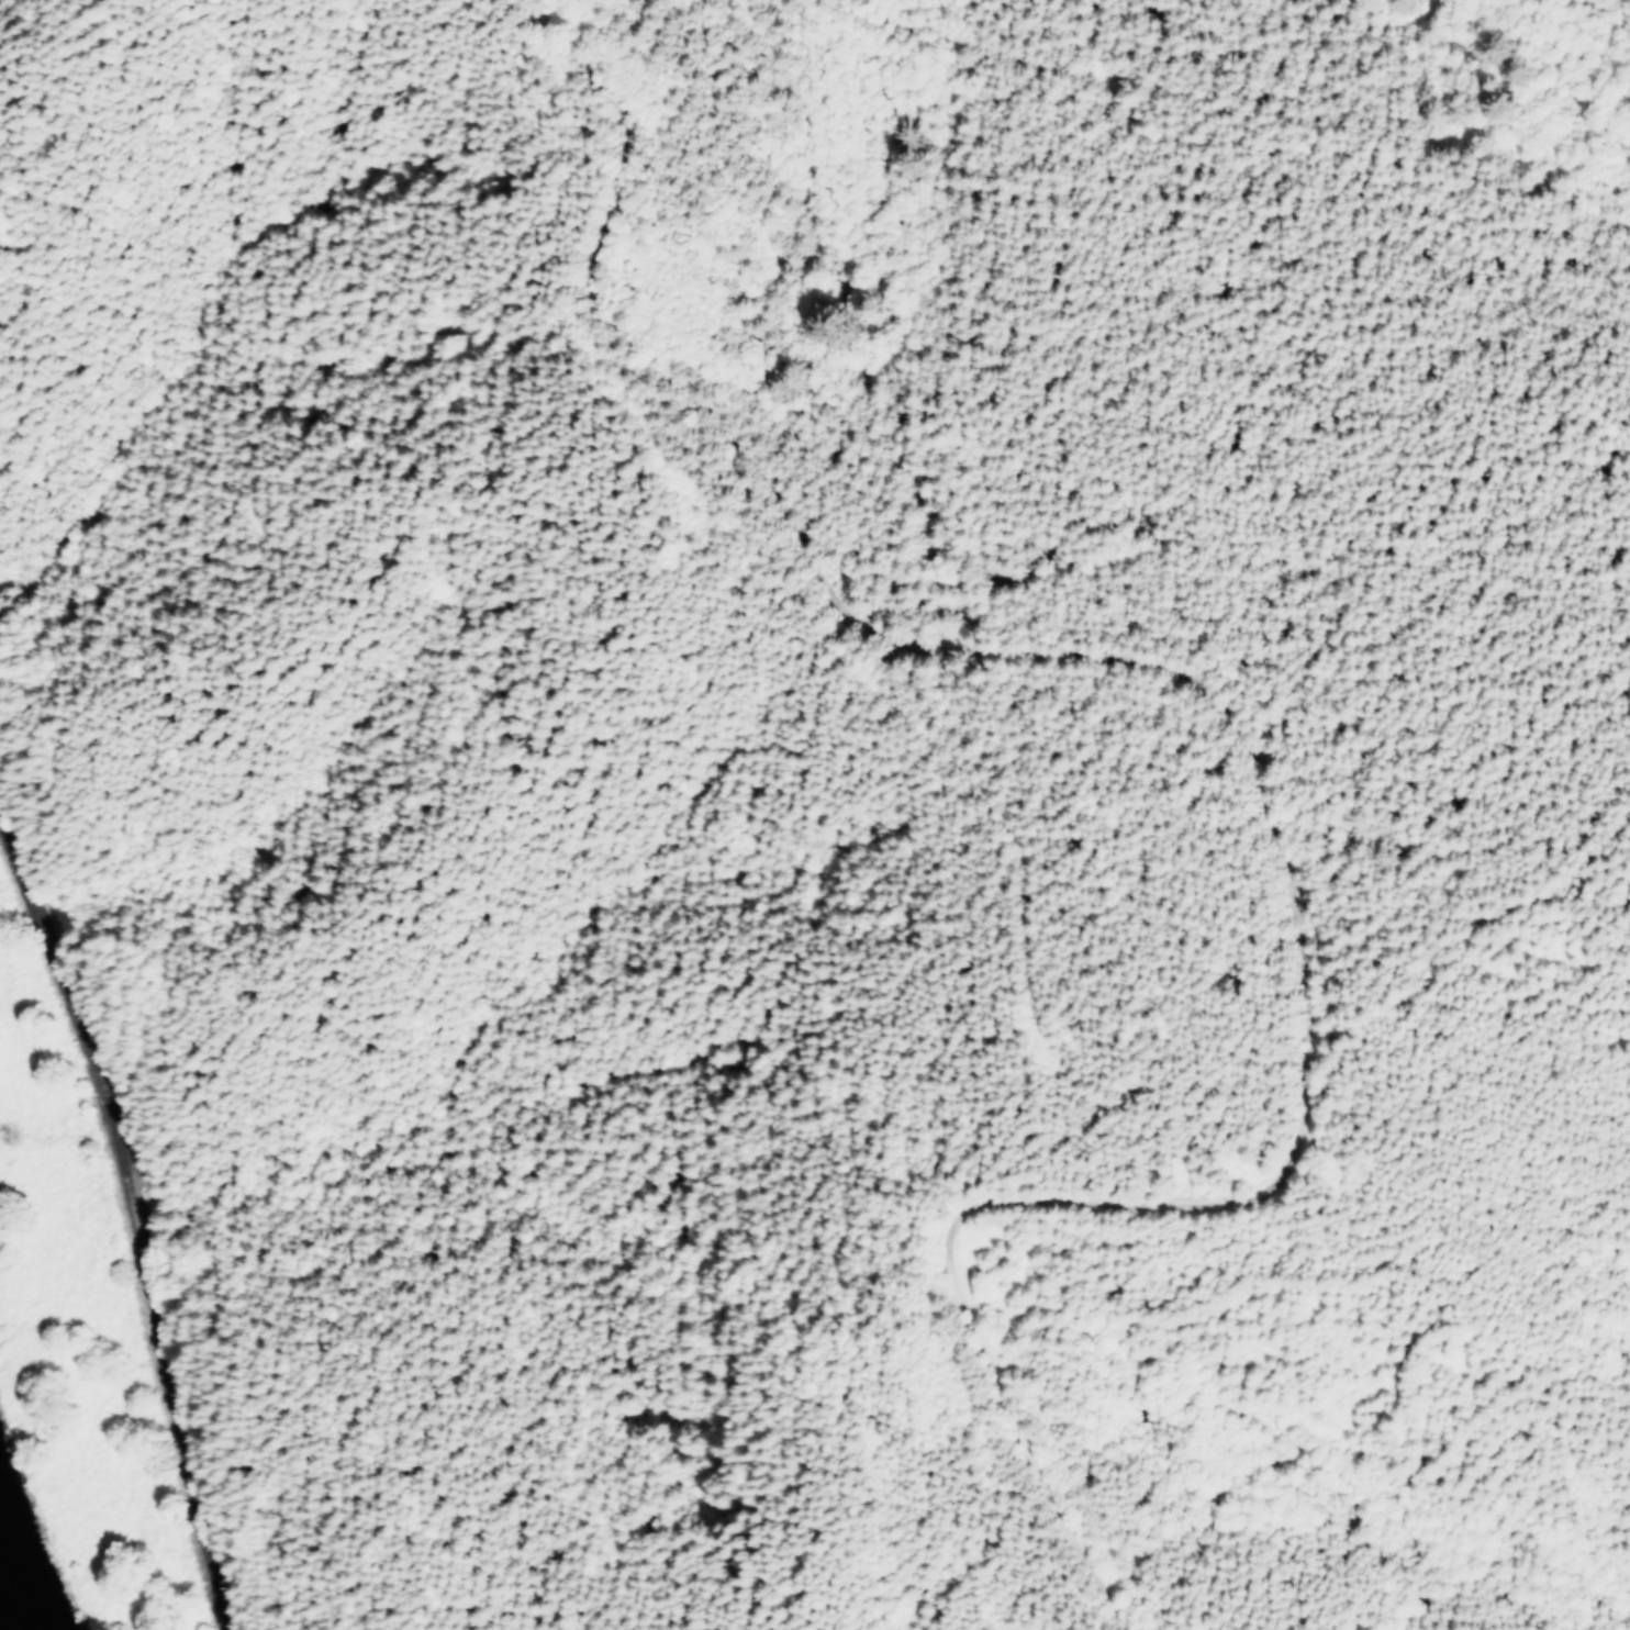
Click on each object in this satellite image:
railway: (132, 1230)
river: (16, 1586)

